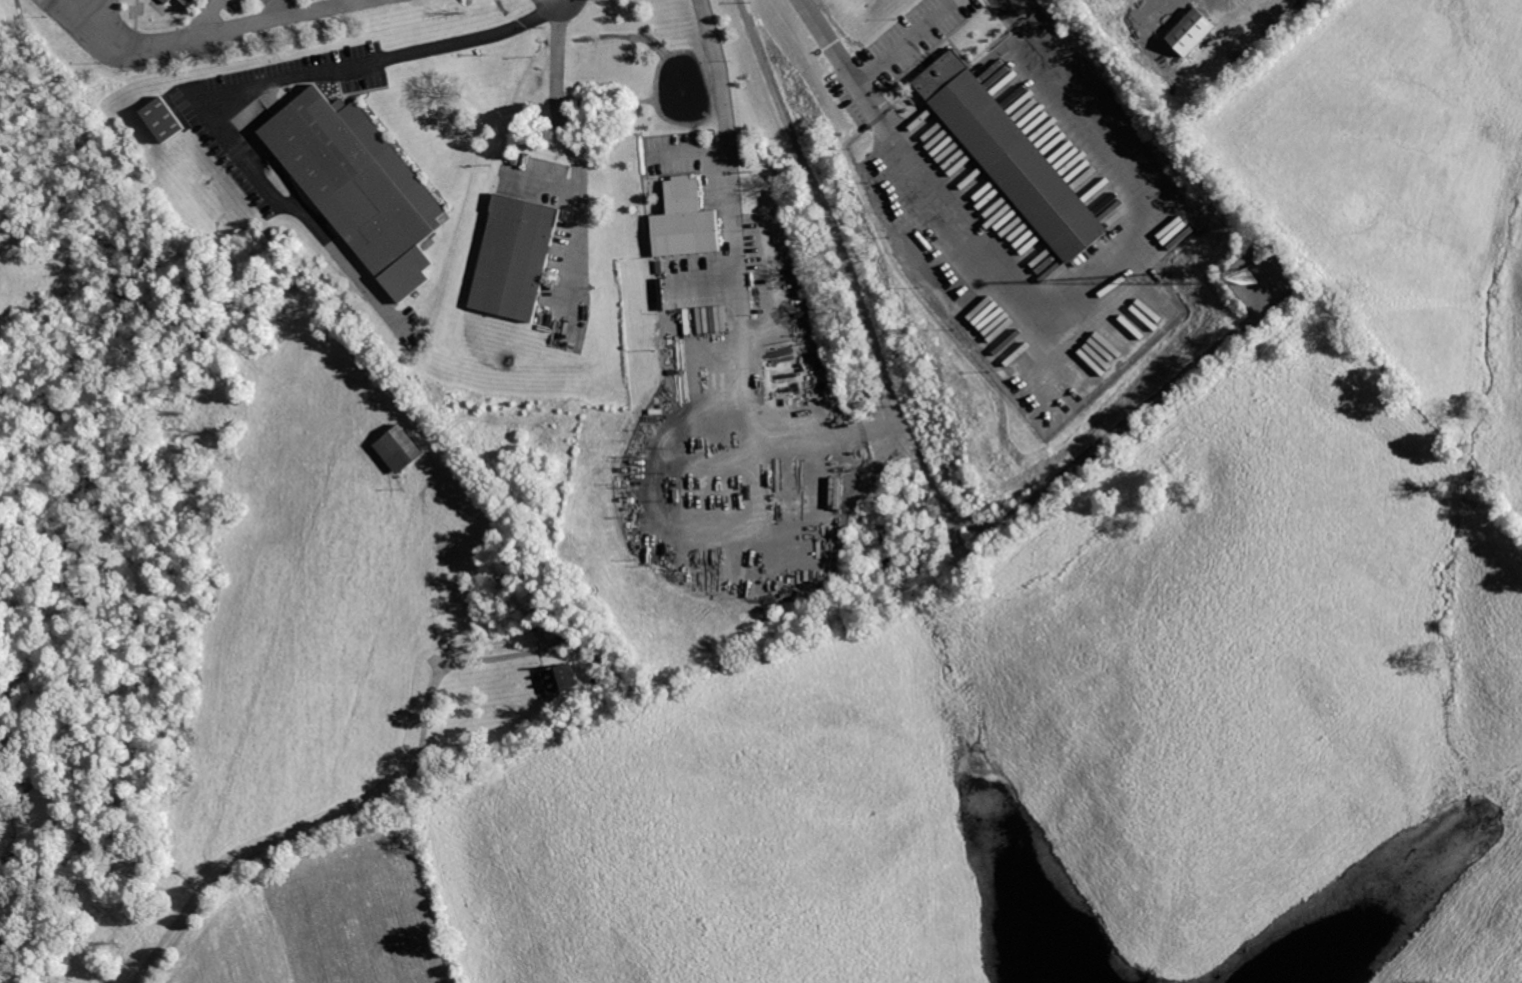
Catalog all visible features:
building: (166, 1)
building: (192, 3)
road: (202, 17)
building: (1190, 32)
road: (207, 36)
road: (870, 74)
road: (259, 92)
road: (727, 116)
building: (164, 120)
road: (576, 154)
building: (1014, 159)
road: (546, 185)
building: (362, 187)
road: (830, 212)
building: (690, 224)
building: (519, 258)
road: (1082, 273)
road: (775, 450)
building: (401, 451)
building: (559, 679)
road: (354, 813)

